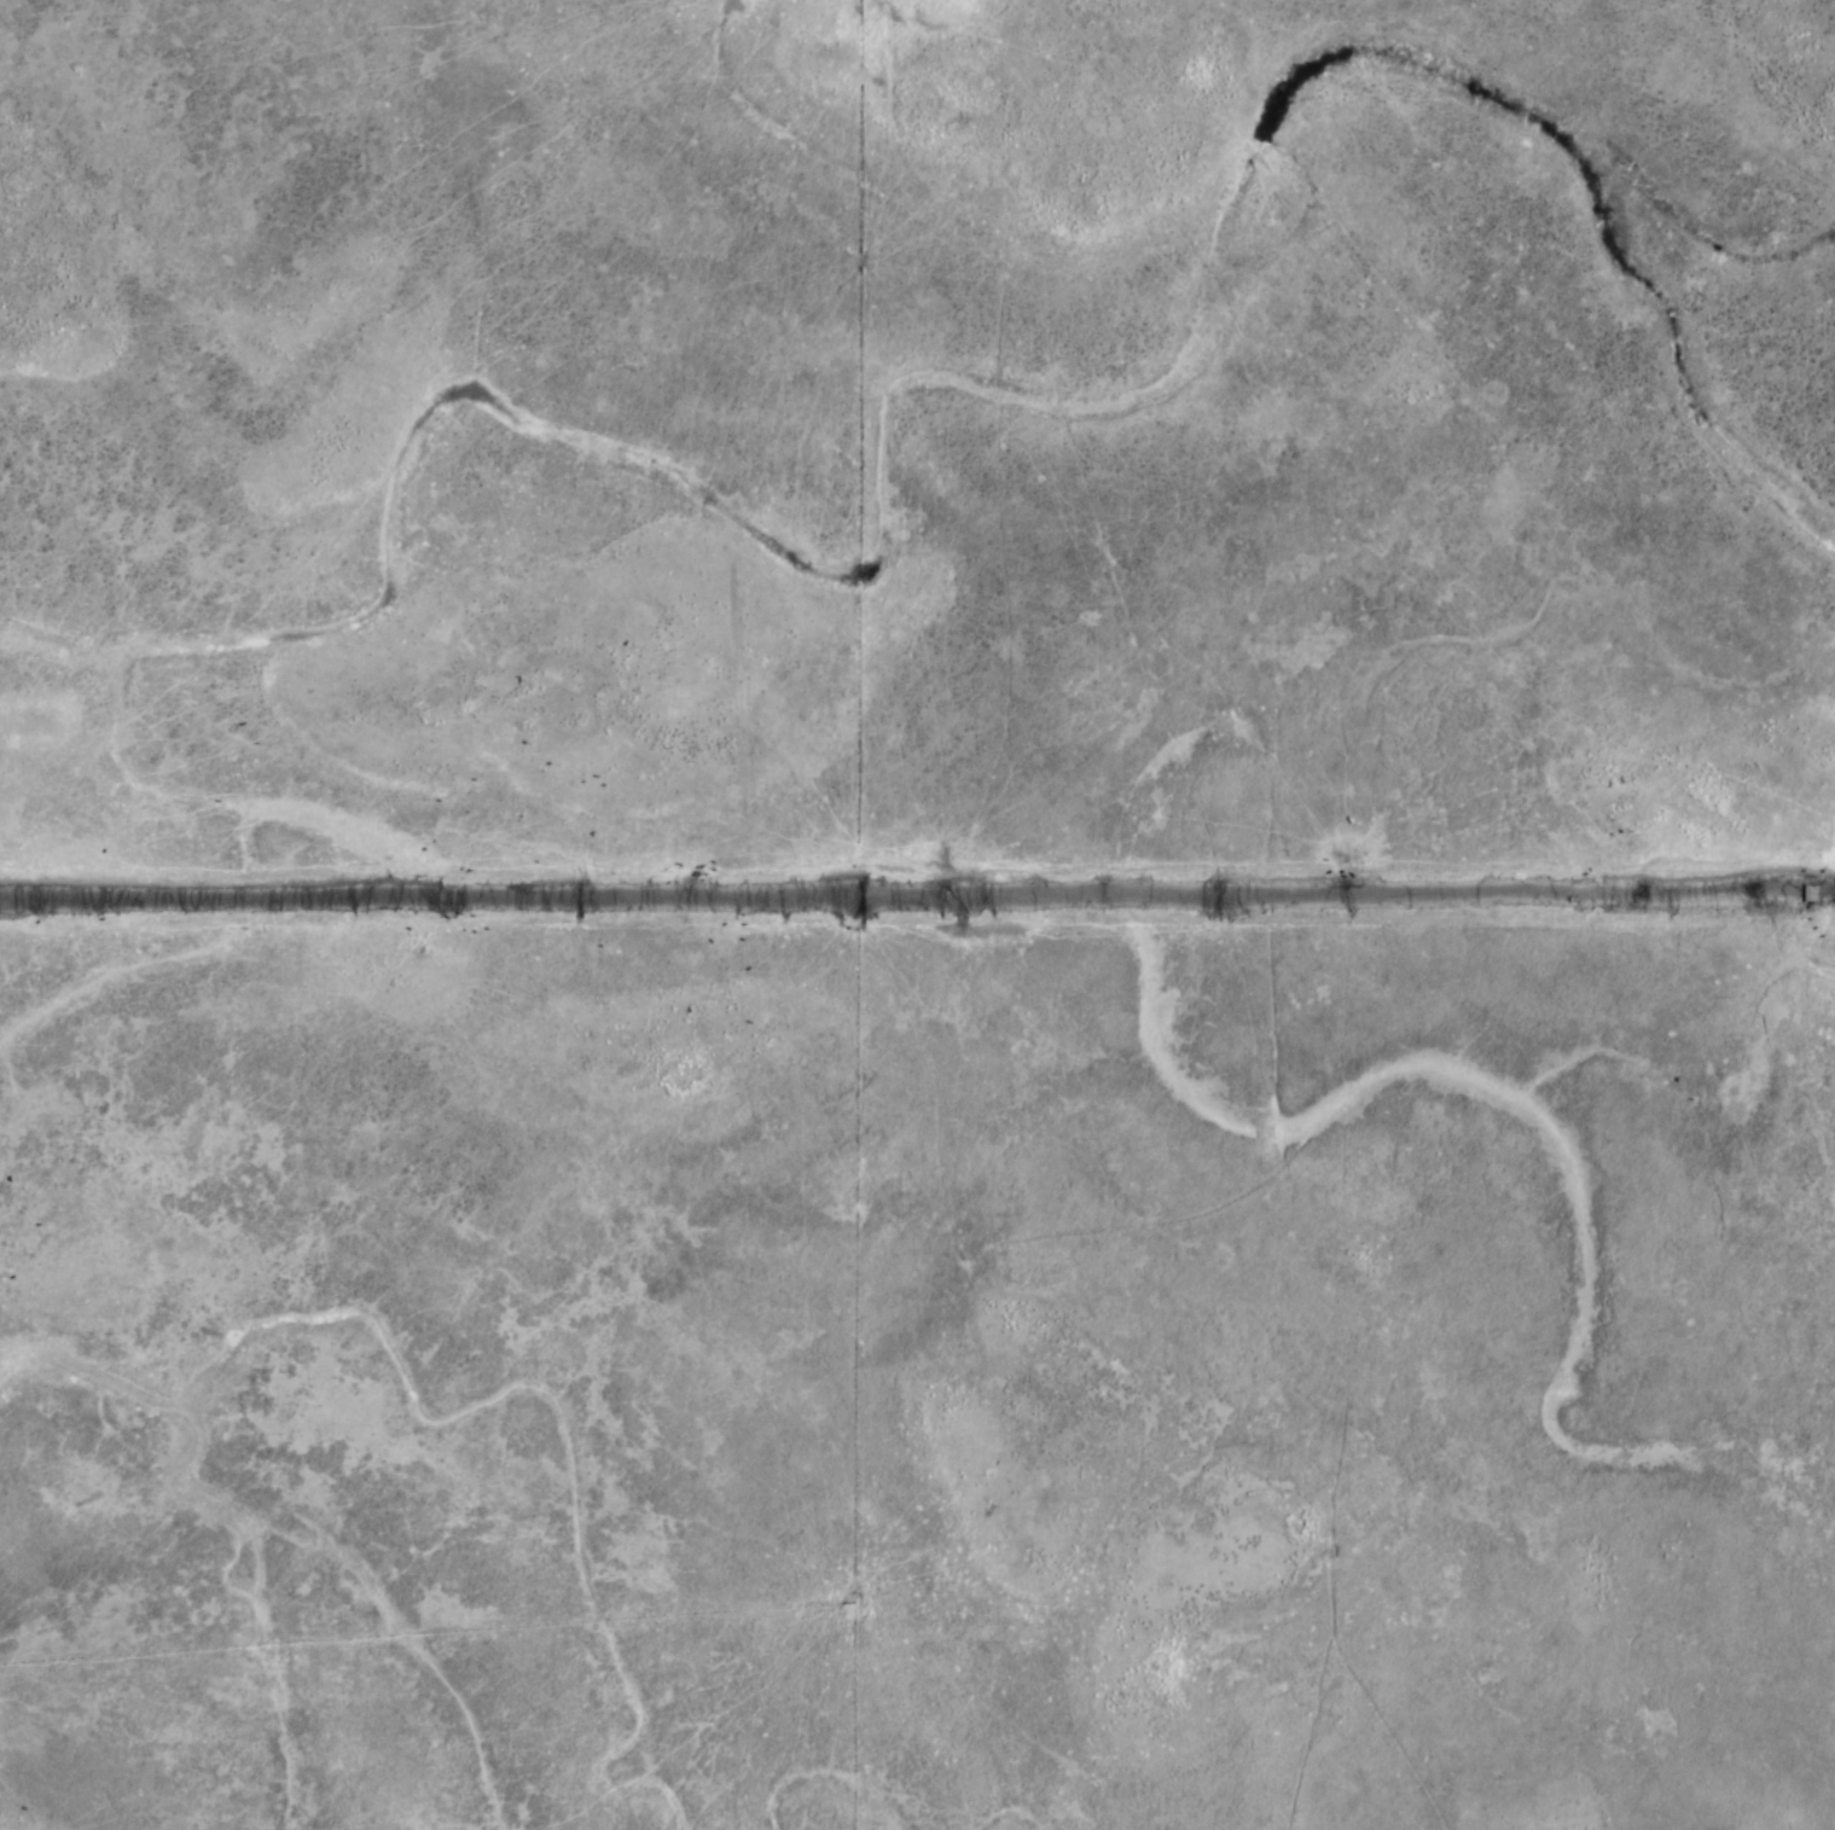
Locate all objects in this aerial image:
crop: (917, 914)

